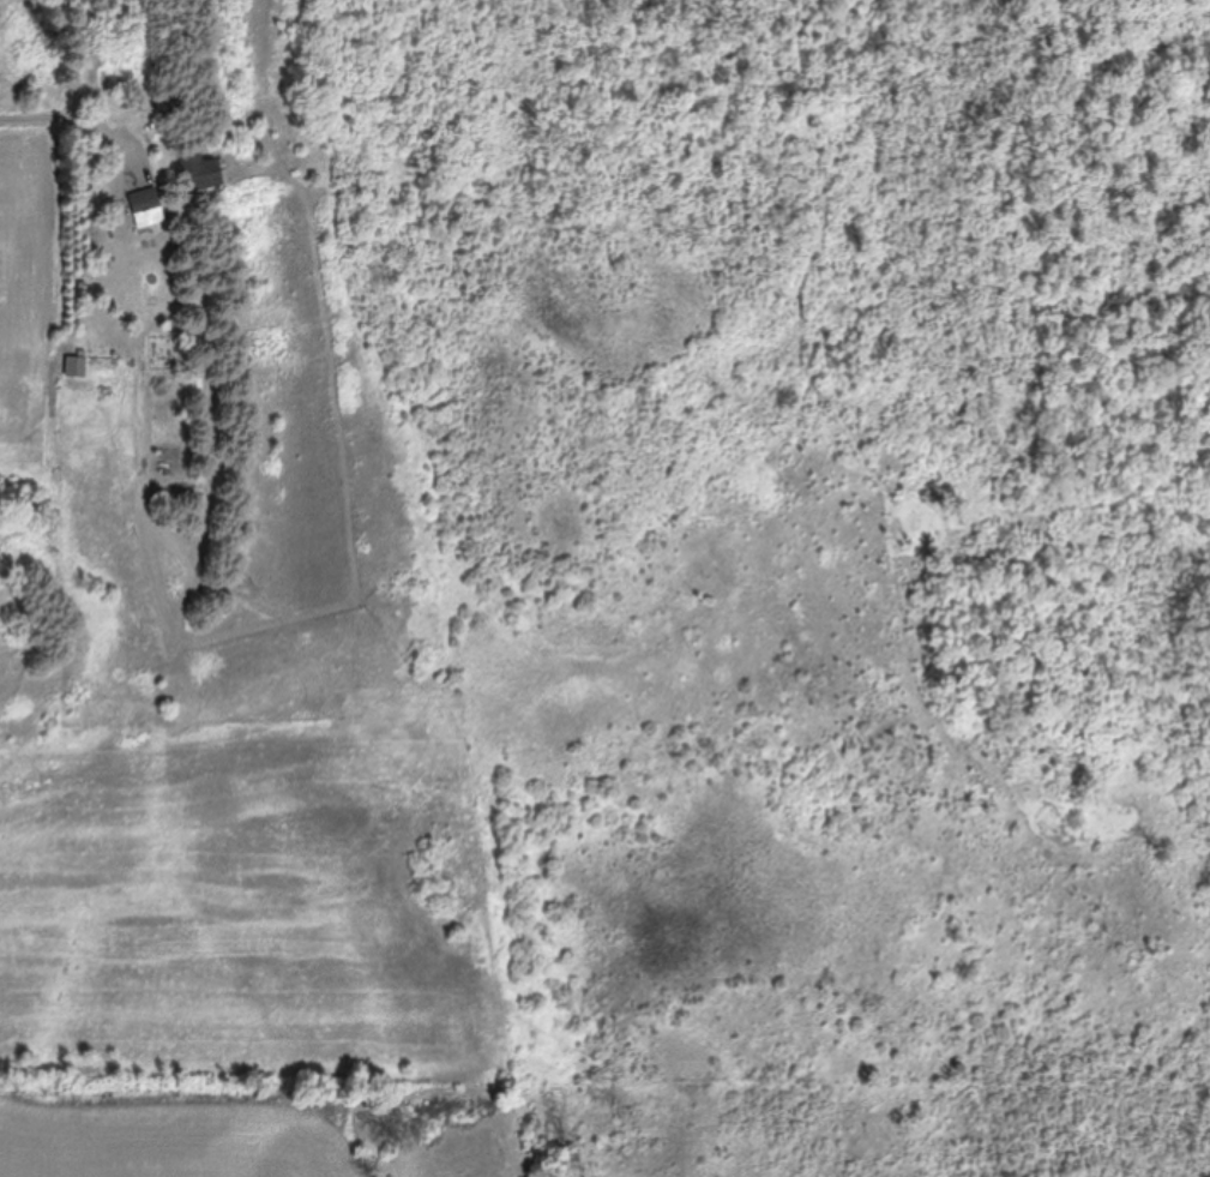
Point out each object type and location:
building: (49, 41)
building: (198, 174)
building: (144, 204)
road: (228, 223)

